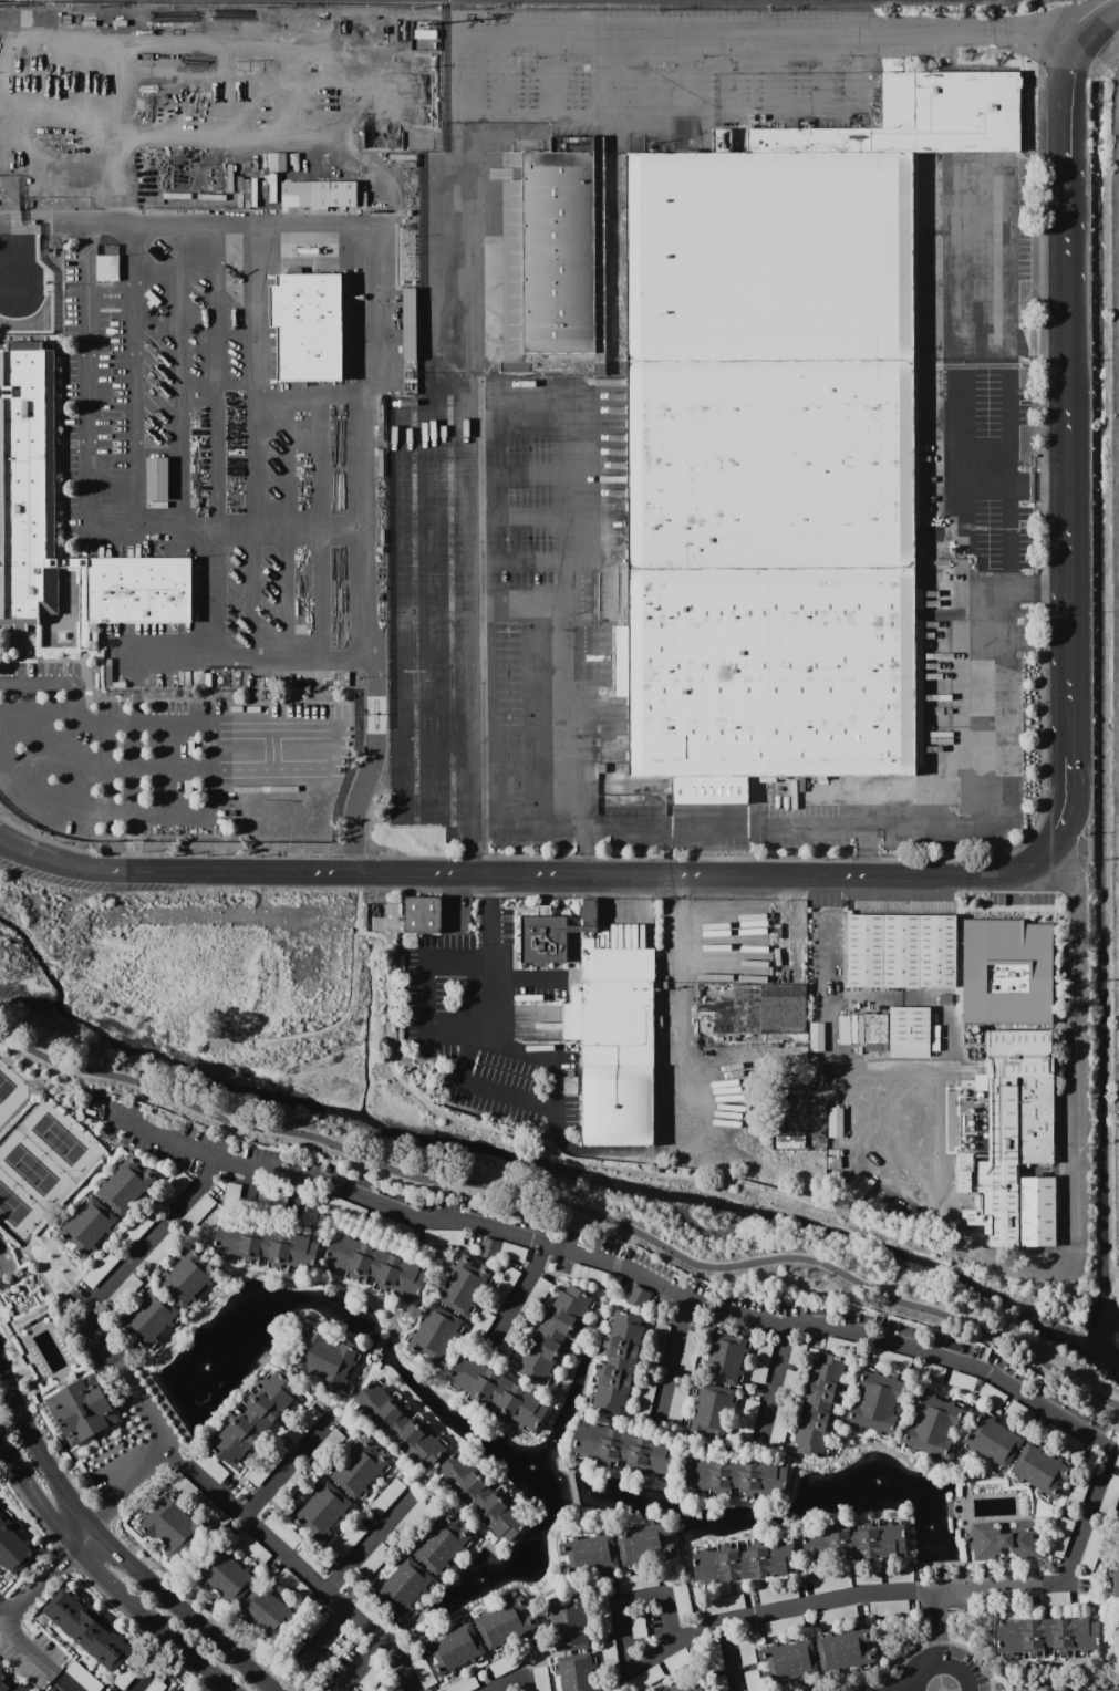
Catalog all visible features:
building: (505, 0)
building: (65, 19)
building: (385, 25)
road: (571, 30)
building: (425, 34)
road: (1087, 34)
road: (769, 49)
road: (818, 49)
road: (724, 50)
road: (598, 72)
road: (645, 72)
road: (497, 73)
road: (549, 73)
road: (1067, 116)
building: (9, 159)
building: (278, 163)
building: (319, 194)
road: (1067, 221)
building: (553, 259)
road: (454, 262)
building: (106, 268)
road: (1004, 290)
road: (365, 295)
building: (408, 324)
building: (308, 326)
road: (206, 339)
road: (1068, 370)
road: (175, 376)
road: (132, 377)
road: (1006, 408)
road: (947, 409)
road: (520, 424)
building: (779, 444)
road: (478, 449)
road: (976, 449)
building: (27, 453)
road: (1006, 469)
road: (487, 471)
road: (1068, 475)
building: (156, 478)
road: (956, 490)
road: (1037, 490)
road: (563, 508)
road: (487, 517)
road: (1007, 529)
road: (137, 530)
road: (1068, 539)
road: (487, 561)
road: (246, 594)
road: (286, 594)
road: (517, 596)
road: (336, 656)
road: (1069, 662)
building: (110, 675)
building: (187, 678)
building: (343, 682)
road: (72, 689)
road: (411, 722)
road: (1069, 745)
road: (49, 755)
road: (995, 761)
road: (216, 765)
road: (172, 766)
building: (226, 774)
building: (640, 789)
road: (128, 796)
road: (1067, 802)
road: (56, 811)
road: (810, 827)
road: (651, 833)
road: (452, 834)
road: (1043, 854)
road: (152, 873)
road: (673, 875)
building: (393, 909)
building: (588, 912)
building: (423, 915)
building: (379, 924)
building: (900, 952)
road: (488, 959)
building: (1005, 973)
road: (525, 982)
road: (672, 989)
building: (945, 999)
building: (755, 1012)
building: (604, 1028)
building: (934, 1030)
building: (873, 1033)
building: (909, 1033)
building: (816, 1037)
building: (934, 1046)
road: (1073, 1046)
road: (533, 1054)
building: (816, 1071)
building: (966, 1083)
road: (481, 1095)
building: (92, 1112)
building: (835, 1122)
building: (1013, 1128)
road: (162, 1138)
building: (788, 1141)
building: (835, 1152)
park: (35, 1155)
road: (564, 1158)
road: (321, 1162)
building: (833, 1162)
building: (193, 1166)
building: (962, 1170)
building: (835, 1181)
building: (125, 1185)
building: (173, 1190)
park: (466, 1194)
building: (231, 1195)
building: (263, 1203)
building: (278, 1206)
road: (567, 1207)
building: (345, 1208)
building: (197, 1212)
building: (310, 1212)
building: (1036, 1212)
building: (86, 1227)
building: (393, 1227)
building: (136, 1230)
building: (443, 1237)
building: (265, 1246)
building: (488, 1249)
building: (160, 1252)
building: (512, 1252)
building: (374, 1268)
building: (99, 1269)
building: (589, 1275)
building: (188, 1277)
road: (1038, 1280)
building: (463, 1286)
building: (504, 1286)
building: (123, 1291)
road: (519, 1294)
road: (94, 1297)
building: (536, 1297)
building: (638, 1297)
building: (149, 1319)
building: (481, 1325)
building: (888, 1327)
building: (434, 1335)
building: (555, 1335)
building: (510, 1341)
building: (657, 1344)
building: (841, 1347)
building: (690, 1351)
road: (369, 1352)
building: (796, 1352)
building: (724, 1356)
building: (323, 1359)
road: (671, 1360)
building: (891, 1360)
building: (615, 1361)
building: (760, 1363)
building: (931, 1372)
building: (789, 1380)
building: (962, 1381)
road: (771, 1383)
road: (308, 1390)
road: (244, 1391)
building: (496, 1394)
building: (992, 1396)
building: (644, 1400)
building: (877, 1402)
building: (820, 1405)
road: (336, 1407)
building: (676, 1407)
building: (81, 1410)
building: (711, 1412)
building: (1019, 1412)
building: (252, 1417)
road: (332, 1418)
building: (747, 1419)
building: (302, 1423)
building: (400, 1423)
building: (778, 1427)
building: (932, 1427)
building: (1060, 1439)
building: (992, 1440)
road: (1101, 1442)
building: (327, 1448)
building: (623, 1451)
building: (210, 1466)
building: (265, 1467)
road: (286, 1469)
building: (360, 1469)
building: (1039, 1471)
building: (734, 1479)
road: (421, 1483)
building: (1080, 1483)
building: (187, 1490)
building: (289, 1490)
building: (483, 1495)
building: (1110, 1495)
building: (387, 1496)
road: (122, 1497)
building: (240, 1497)
building: (321, 1512)
building: (216, 1515)
building: (412, 1518)
building: (170, 1527)
building: (282, 1531)
building: (1060, 1537)
building: (350, 1539)
building: (854, 1540)
building: (1006, 1540)
road: (366, 1544)
building: (441, 1544)
building: (644, 1544)
building: (13, 1546)
building: (1118, 1546)
road: (113, 1547)
building: (251, 1547)
building: (1091, 1548)
building: (588, 1555)
building: (311, 1557)
building: (743, 1559)
building: (373, 1560)
road: (103, 1574)
building: (225, 1575)
building: (867, 1576)
building: (900, 1576)
road: (41, 1580)
building: (636, 1581)
building: (830, 1584)
building: (1112, 1584)
building: (294, 1586)
building: (402, 1586)
building: (777, 1594)
building: (1056, 1599)
building: (682, 1601)
road: (633, 1605)
building: (724, 1605)
building: (366, 1608)
building: (888, 1608)
road: (6, 1611)
building: (268, 1611)
building: (602, 1616)
building: (836, 1616)
building: (640, 1620)
building: (314, 1622)
building: (504, 1622)
building: (568, 1623)
building: (784, 1626)
road: (939, 1627)
building: (87, 1630)
building: (392, 1630)
road: (327, 1636)
building: (656, 1637)
building: (1047, 1638)
building: (290, 1649)
building: (453, 1649)
building: (843, 1650)
building: (746, 1651)
road: (34, 1657)
building: (609, 1657)
road: (731, 1657)
building: (713, 1659)
building: (677, 1661)
building: (787, 1661)
road: (352, 1664)
building: (502, 1666)
road: (942, 1666)
building: (1, 1668)
building: (421, 1668)
building: (576, 1672)
building: (126, 1676)
building: (374, 1676)
building: (83, 1677)
building: (540, 1679)
building: (644, 1679)
building: (752, 1679)
road: (516, 1681)
building: (718, 1683)
building: (463, 1684)
building: (685, 1684)
building: (10, 1685)
building: (155, 1685)
building: (182, 1689)
building: (354, 1689)
building: (400, 1689)
road: (906, 1689)
building: (173, 1690)
building: (601, 1690)
road: (1111, 1690)

